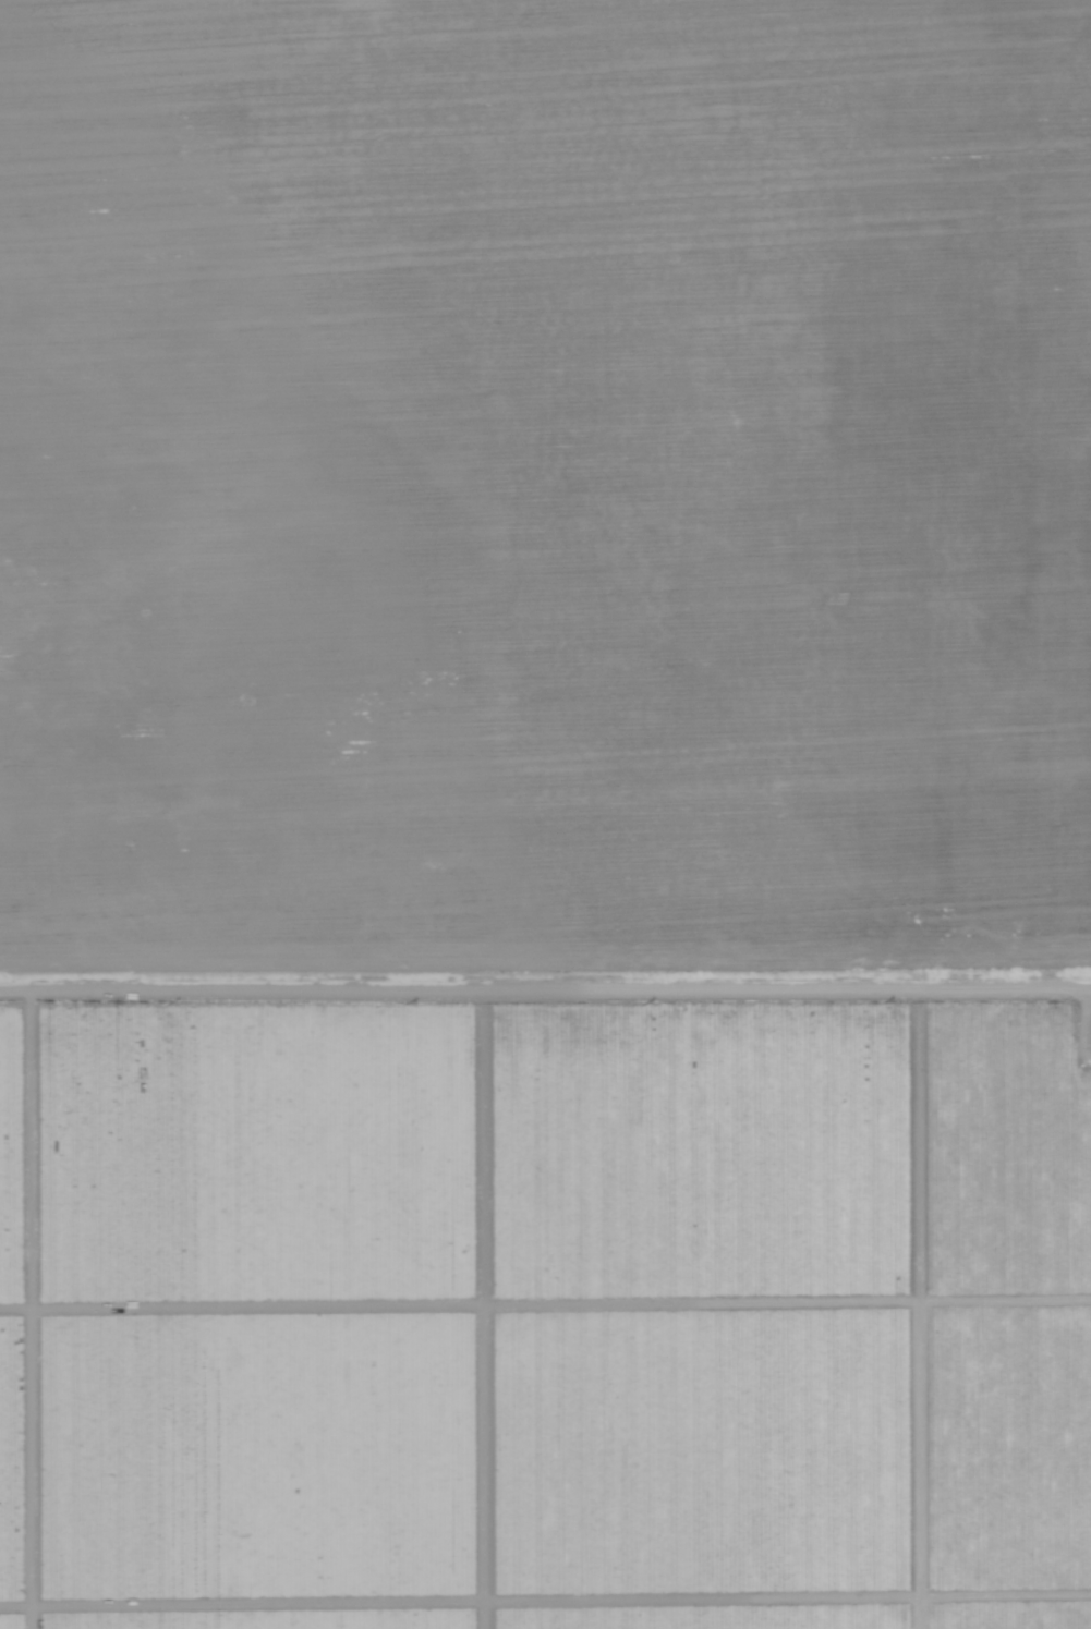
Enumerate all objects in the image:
road: (221, 155)
road: (490, 493)
road: (545, 999)

